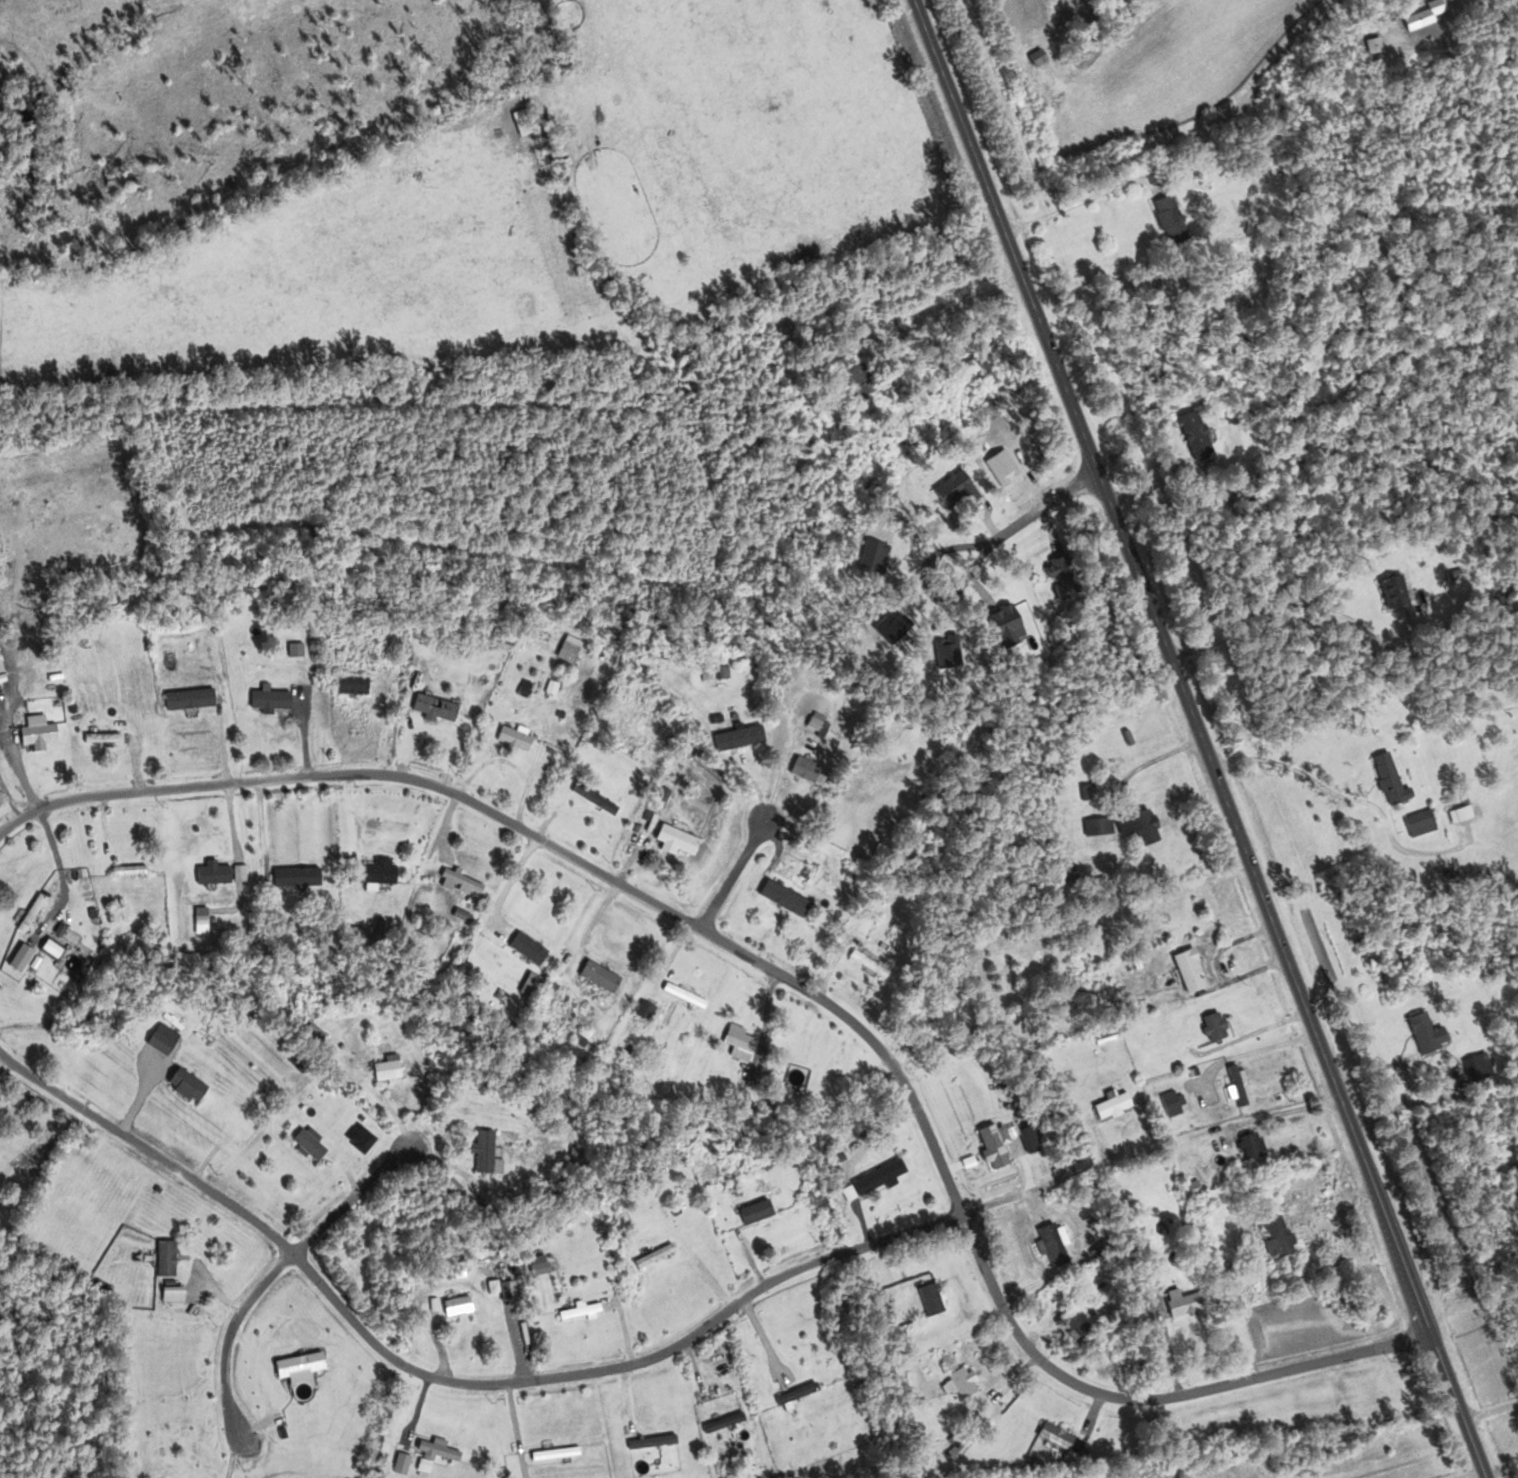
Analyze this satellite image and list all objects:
building: (552, 2)
building: (1421, 13)
building: (1369, 42)
building: (1045, 55)
building: (528, 120)
building: (1179, 218)
building: (867, 379)
building: (1201, 428)
building: (964, 490)
road: (1018, 536)
building: (1460, 573)
building: (1069, 576)
building: (1399, 591)
road: (1291, 605)
building: (1016, 622)
building: (301, 648)
building: (575, 648)
building: (726, 671)
building: (357, 683)
building: (274, 692)
building: (194, 697)
building: (440, 706)
building: (819, 720)
building: (43, 734)
building: (106, 736)
building: (745, 736)
building: (519, 737)
road: (1208, 738)
building: (812, 768)
building: (1395, 777)
building: (601, 798)
building: (1465, 813)
building: (1426, 822)
building: (1102, 825)
building: (1146, 825)
building: (681, 839)
road: (548, 842)
building: (136, 869)
building: (385, 871)
building: (218, 872)
road: (735, 875)
building: (302, 876)
building: (466, 880)
building: (37, 912)
building: (58, 948)
building: (532, 948)
building: (876, 963)
building: (1196, 969)
building: (606, 975)
building: (690, 994)
building: (651, 1012)
building: (1221, 1026)
building: (1434, 1033)
building: (748, 1037)
building: (166, 1041)
building: (393, 1067)
building: (1483, 1067)
building: (193, 1084)
building: (1241, 1084)
building: (1175, 1102)
building: (1119, 1104)
building: (1038, 1138)
building: (316, 1143)
building: (1000, 1145)
building: (1258, 1145)
building: (581, 1151)
building: (492, 1152)
building: (886, 1175)
road: (54, 1182)
road: (354, 1199)
building: (769, 1212)
building: (1284, 1236)
building: (1060, 1244)
building: (660, 1255)
building: (171, 1257)
building: (547, 1263)
building: (514, 1290)
building: (937, 1298)
building: (1195, 1303)
building: (463, 1305)
building: (585, 1311)
building: (1088, 1327)
road: (224, 1352)
building: (305, 1366)
road: (444, 1381)
building: (968, 1381)
building: (803, 1393)
road: (1152, 1401)
building: (729, 1421)
building: (1062, 1435)
building: (658, 1441)
building: (444, 1450)
building: (560, 1453)
building: (406, 1462)
building: (429, 1465)
road: (1468, 1472)

